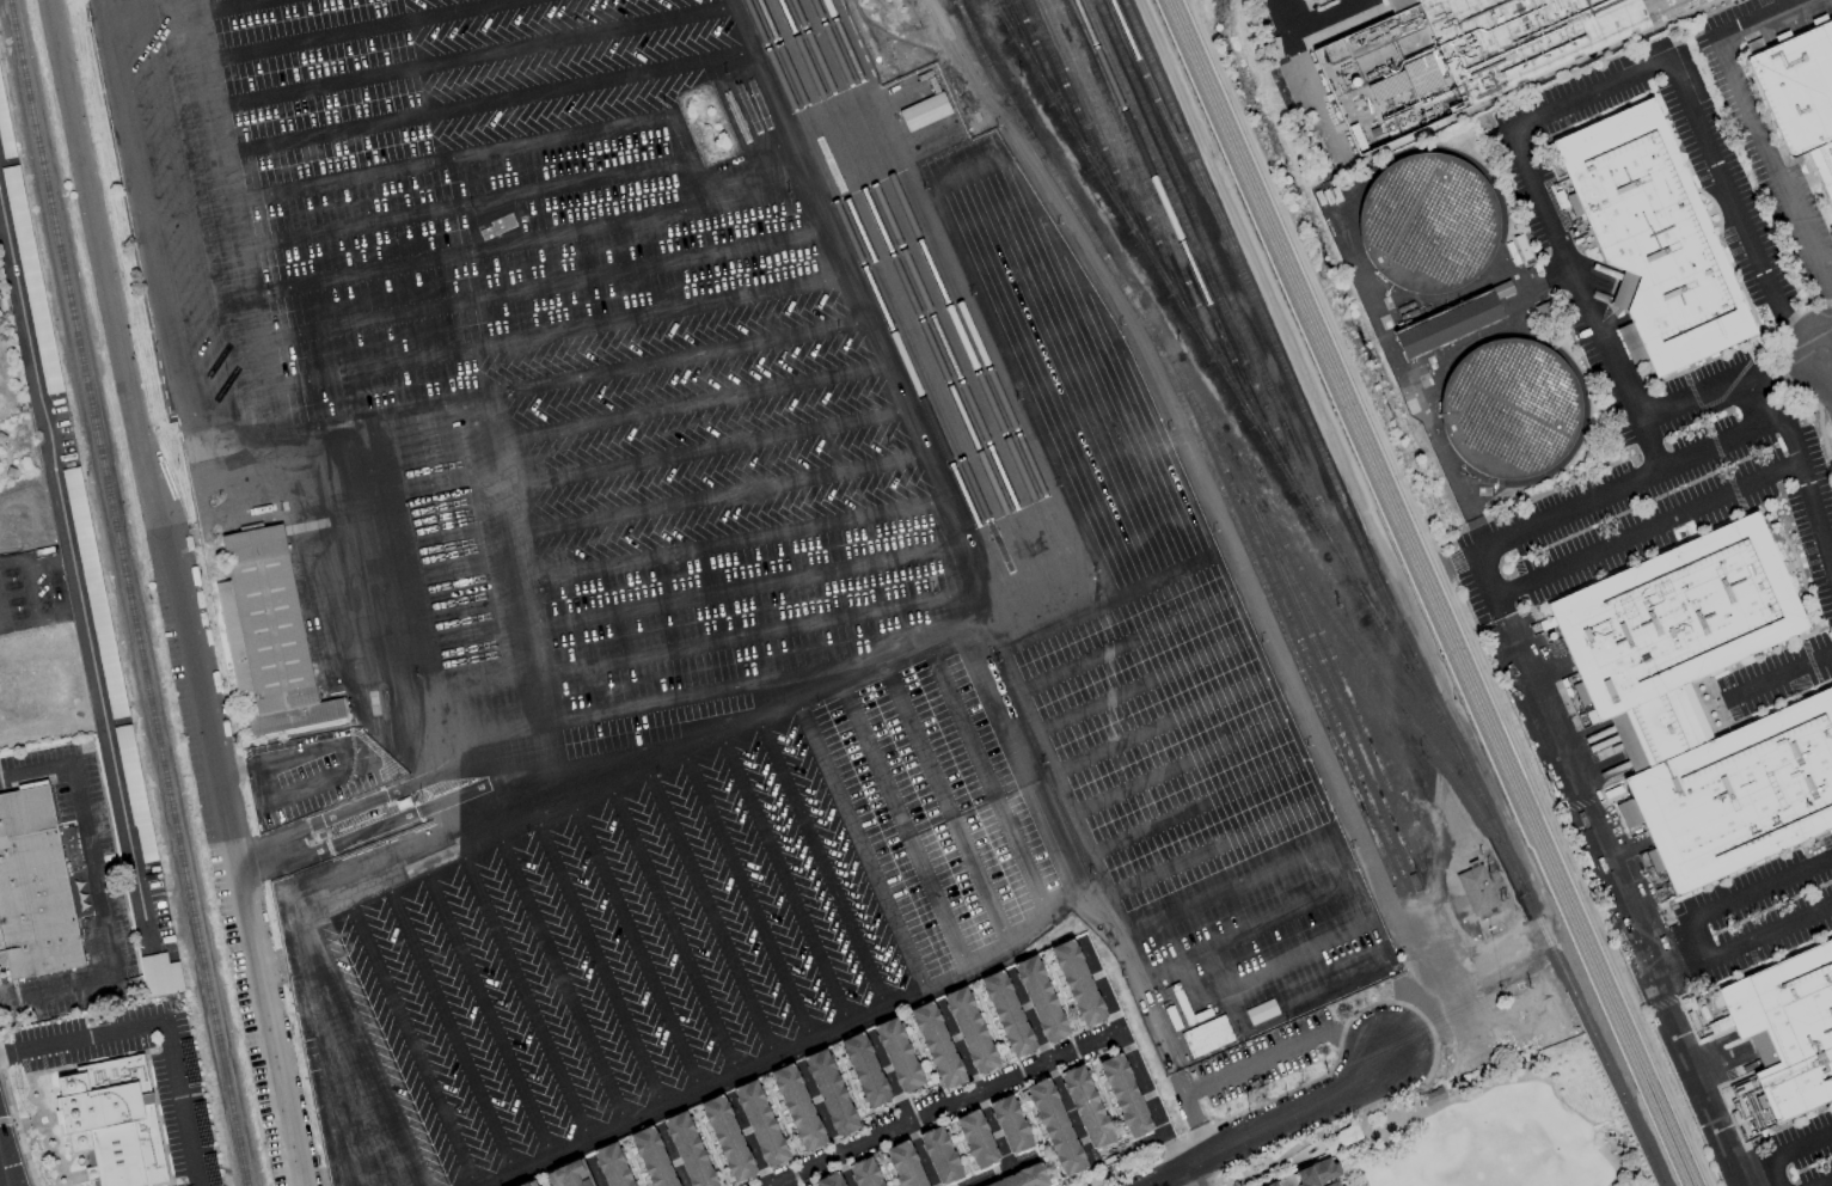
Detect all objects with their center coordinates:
railway: (956, 0)
road: (109, 4)
road: (234, 6)
road: (1328, 17)
railway: (1003, 18)
road: (364, 30)
railway: (1027, 51)
road: (468, 55)
building: (1463, 55)
road: (1303, 57)
railway: (1050, 82)
road: (748, 86)
building: (1802, 87)
road: (1589, 93)
road: (483, 103)
building: (924, 111)
railway: (1060, 114)
railway: (1176, 118)
railway: (1164, 121)
building: (4, 134)
road: (1766, 146)
railway: (1102, 147)
road: (458, 158)
road: (968, 172)
railway: (1128, 179)
road: (468, 201)
road: (1738, 208)
road: (489, 209)
road: (992, 215)
railway: (1127, 219)
building: (1429, 224)
building: (1653, 237)
road: (4, 238)
railway: (1181, 244)
road: (485, 249)
road: (1013, 256)
railway: (938, 258)
railway: (927, 261)
railway: (908, 264)
road: (154, 265)
railway: (896, 268)
railway: (877, 270)
railway: (866, 273)
railway: (1206, 277)
building: (31, 280)
road: (540, 286)
building: (1502, 288)
road: (1034, 293)
road: (1583, 299)
railway: (1233, 308)
road: (853, 312)
building: (1447, 325)
road: (1055, 331)
road: (557, 334)
road: (1827, 337)
road: (1827, 357)
road: (1076, 371)
road: (572, 379)
road: (1405, 384)
road: (1024, 391)
road: (490, 395)
railway: (1240, 397)
road: (1687, 398)
road: (1750, 403)
road: (690, 404)
building: (1511, 410)
road: (1093, 412)
road: (287, 440)
road: (703, 451)
park: (19, 452)
road: (1113, 454)
railway: (1229, 454)
road: (7, 460)
road: (1628, 485)
road: (1810, 488)
road: (1129, 494)
road: (717, 496)
road: (1648, 533)
road: (1148, 536)
road: (731, 540)
building: (0, 543)
road: (73, 567)
road: (1485, 579)
parking lot: (678, 582)
railway: (1383, 583)
railway: (1263, 586)
road: (741, 587)
building: (94, 592)
railway: (128, 592)
road: (179, 592)
railway: (1424, 592)
railway: (1435, 593)
road: (33, 598)
road: (1238, 601)
road: (1101, 605)
railway: (1306, 606)
railway: (1287, 617)
road: (0, 628)
road: (749, 636)
building: (266, 640)
road: (1120, 644)
road: (1788, 668)
road: (491, 674)
railway: (1330, 684)
road: (1139, 686)
road: (718, 691)
road: (1009, 704)
building: (1643, 704)
road: (962, 726)
road: (1158, 727)
road: (445, 734)
road: (500, 734)
road: (919, 745)
road: (339, 754)
road: (636, 760)
road: (877, 763)
road: (1176, 766)
road: (558, 768)
road: (832, 785)
building: (135, 794)
road: (1035, 796)
road: (1194, 809)
road: (319, 820)
road: (330, 848)
road: (1214, 849)
road: (264, 855)
road: (816, 862)
road: (772, 881)
road: (1760, 886)
building: (1476, 887)
building: (35, 889)
road: (1232, 889)
road: (98, 893)
road: (728, 900)
road: (304, 904)
road: (1630, 911)
road: (685, 918)
road: (1250, 930)
road: (1770, 934)
road: (1117, 935)
road: (641, 939)
road: (1699, 940)
road: (599, 956)
road: (1303, 956)
building: (160, 976)
road: (554, 976)
building: (1077, 983)
road: (1458, 983)
road: (513, 995)
building: (1040, 998)
road: (1233, 1009)
building: (1261, 1011)
road: (468, 1014)
building: (1007, 1014)
road: (1022, 1017)
road: (164, 1022)
building: (969, 1031)
building: (1782, 1031)
road: (422, 1033)
building: (1206, 1035)
road: (378, 1041)
building: (936, 1045)
road: (323, 1049)
road: (950, 1051)
building: (897, 1054)
road: (1122, 1057)
railway: (1601, 1057)
building: (188, 1060)
road: (350, 1063)
building: (864, 1070)
road: (1177, 1072)
road: (713, 1086)
building: (831, 1093)
building: (1125, 1095)
building: (1086, 1106)
building: (797, 1107)
road: (899, 1109)
road: (942, 1109)
road: (1070, 1119)
building: (112, 1121)
building: (201, 1123)
building: (760, 1124)
road: (821, 1124)
building: (1010, 1124)
road: (1275, 1125)
building: (1055, 1126)
park: (1508, 1127)
road: (991, 1132)
building: (727, 1138)
building: (976, 1138)
road: (745, 1141)
road: (1800, 1144)
building: (688, 1150)
building: (939, 1155)
road: (668, 1156)
building: (652, 1157)
building: (613, 1164)
building: (905, 1164)
road: (5, 1166)
building: (210, 1169)
road: (592, 1172)
building: (868, 1172)
road: (1004, 1172)
road: (1773, 1173)
building: (571, 1174)
building: (1318, 1174)
building: (1023, 1178)
road: (1191, 1178)
building: (832, 1180)
building: (529, 1182)
building: (1273, 1184)
road: (1283, 1184)
road: (1827, 1184)

